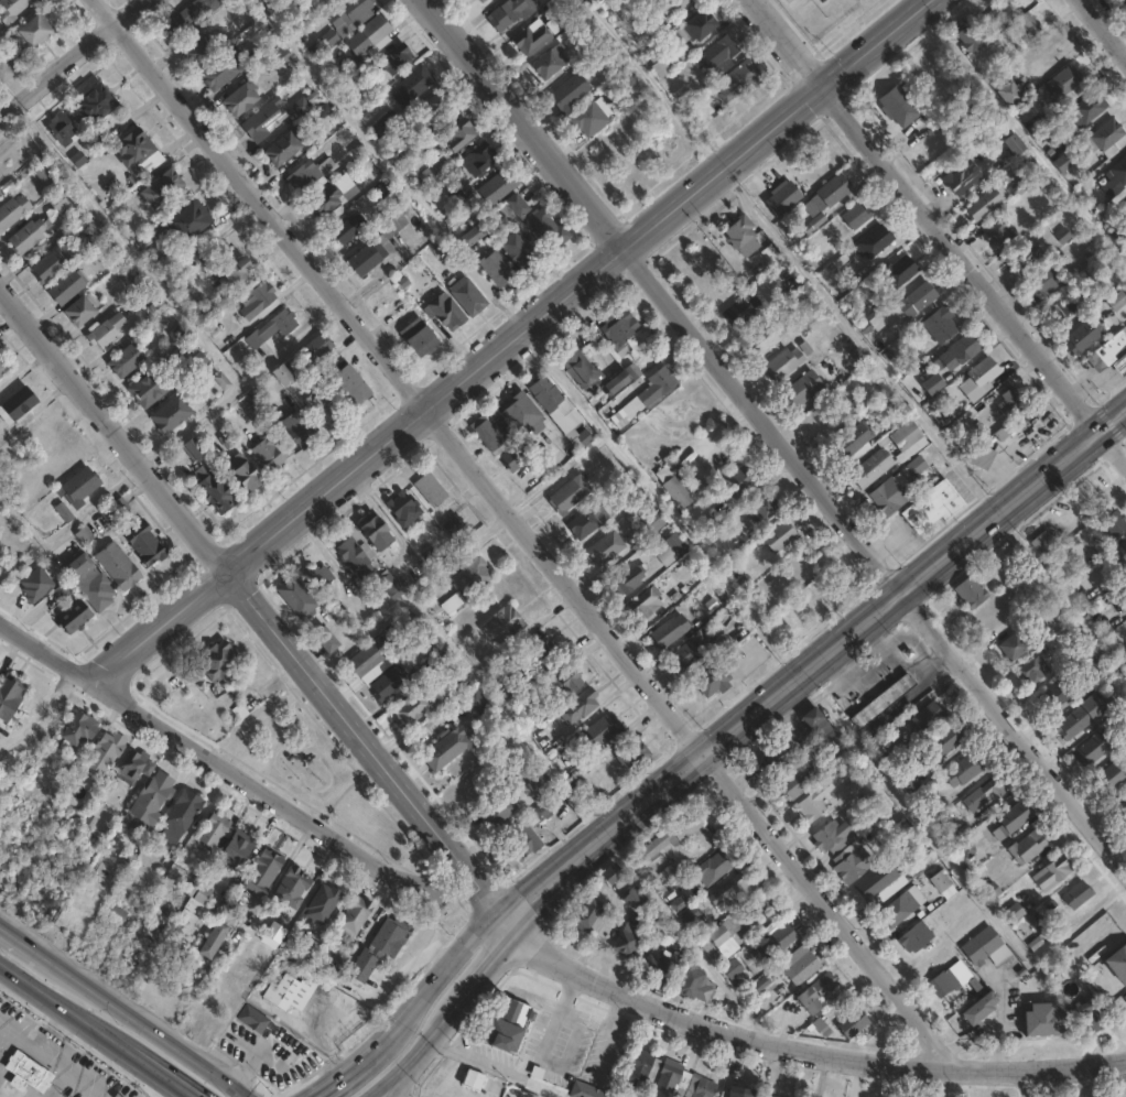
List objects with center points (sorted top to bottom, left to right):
building: (642, 0)
building: (481, 1)
building: (1004, 2)
building: (273, 3)
building: (670, 6)
building: (11, 9)
building: (349, 11)
building: (510, 12)
building: (186, 18)
building: (294, 23)
building: (1029, 24)
road: (1103, 26)
building: (695, 29)
building: (373, 30)
building: (31, 31)
building: (970, 35)
building: (328, 39)
building: (531, 40)
building: (269, 47)
building: (198, 50)
building: (718, 52)
road: (74, 57)
building: (280, 57)
building: (396, 58)
building: (550, 61)
building: (659, 64)
building: (4, 70)
building: (218, 70)
building: (737, 79)
building: (1064, 80)
building: (411, 85)
road: (652, 86)
building: (570, 90)
building: (1007, 91)
building: (240, 98)
building: (94, 102)
building: (304, 102)
building: (899, 106)
building: (1086, 108)
building: (436, 110)
building: (988, 116)
building: (588, 118)
building: (266, 120)
building: (61, 128)
building: (456, 134)
building: (99, 135)
building: (1105, 135)
building: (1015, 143)
building: (283, 146)
building: (138, 150)
building: (477, 159)
building: (1063, 163)
road: (389, 165)
building: (432, 170)
building: (44, 173)
building: (310, 175)
building: (1004, 176)
building: (963, 177)
building: (1116, 178)
building: (497, 186)
building: (160, 188)
building: (382, 188)
building: (830, 193)
building: (332, 196)
building: (782, 197)
building: (57, 200)
building: (516, 204)
building: (984, 204)
building: (1125, 206)
building: (12, 207)
building: (385, 211)
building: (501, 214)
building: (186, 221)
building: (418, 221)
building: (814, 224)
building: (465, 226)
road: (941, 226)
building: (345, 228)
building: (545, 229)
building: (998, 235)
building: (26, 236)
building: (741, 236)
building: (875, 241)
building: (519, 251)
building: (373, 253)
building: (1025, 256)
building: (52, 262)
building: (497, 269)
building: (848, 270)
building: (900, 271)
building: (234, 274)
building: (130, 280)
building: (1044, 281)
building: (66, 286)
building: (467, 296)
building: (256, 300)
building: (1117, 300)
building: (916, 301)
building: (83, 308)
building: (155, 308)
building: (1060, 309)
building: (445, 311)
building: (870, 317)
building: (941, 324)
building: (271, 328)
building: (105, 330)
building: (619, 330)
building: (176, 334)
building: (419, 336)
building: (766, 336)
building: (1084, 336)
road: (512, 341)
building: (315, 348)
building: (965, 348)
building: (1107, 351)
building: (124, 360)
building: (195, 362)
building: (783, 362)
building: (2, 366)
building: (1120, 366)
building: (593, 372)
building: (281, 376)
building: (0, 378)
building: (979, 378)
road: (240, 384)
building: (347, 384)
building: (932, 387)
building: (149, 388)
building: (803, 389)
building: (646, 395)
building: (1013, 402)
building: (554, 404)
building: (15, 405)
building: (322, 410)
building: (827, 412)
building: (170, 413)
building: (521, 413)
building: (296, 427)
building: (1007, 431)
building: (489, 434)
road: (775, 434)
building: (853, 443)
building: (192, 448)
building: (267, 454)
building: (517, 455)
building: (880, 456)
building: (984, 457)
building: (246, 476)
building: (739, 481)
building: (77, 488)
building: (673, 488)
building: (895, 489)
building: (430, 490)
building: (215, 492)
building: (569, 495)
building: (638, 497)
building: (762, 508)
building: (934, 508)
building: (403, 509)
building: (62, 513)
building: (588, 521)
building: (712, 522)
building: (1115, 523)
road: (71, 524)
building: (452, 524)
building: (648, 525)
road: (527, 532)
building: (375, 533)
building: (781, 535)
building: (1043, 543)
building: (144, 544)
building: (606, 548)
building: (672, 550)
building: (354, 553)
building: (1122, 553)
building: (117, 567)
building: (318, 577)
building: (472, 577)
building: (628, 582)
building: (88, 583)
building: (37, 584)
building: (390, 585)
building: (972, 593)
building: (295, 597)
building: (832, 597)
building: (452, 602)
building: (646, 604)
road: (252, 607)
building: (74, 618)
building: (502, 624)
building: (669, 631)
building: (326, 640)
building: (1017, 644)
building: (537, 647)
building: (684, 655)
building: (366, 658)
building: (435, 659)
building: (219, 663)
road: (815, 666)
building: (1036, 672)
building: (571, 681)
building: (713, 681)
building: (388, 684)
building: (1086, 685)
building: (11, 695)
building: (1054, 696)
building: (476, 702)
building: (884, 702)
building: (582, 705)
building: (409, 709)
building: (928, 717)
building: (1082, 717)
building: (813, 719)
building: (80, 728)
building: (602, 730)
building: (834, 739)
building: (948, 739)
building: (446, 749)
building: (1092, 749)
building: (107, 752)
building: (900, 752)
building: (632, 756)
building: (779, 757)
road: (215, 761)
building: (133, 765)
building: (966, 769)
park: (320, 775)
building: (1111, 778)
building: (538, 780)
building: (795, 783)
building: (853, 789)
building: (987, 792)
building: (153, 797)
building: (1125, 803)
building: (811, 808)
building: (499, 810)
building: (538, 814)
building: (181, 815)
building: (1016, 817)
building: (215, 829)
building: (833, 837)
building: (670, 838)
building: (528, 840)
building: (1029, 847)
building: (236, 850)
building: (853, 865)
building: (715, 866)
building: (263, 871)
building: (670, 872)
building: (1053, 873)
building: (611, 875)
building: (880, 882)
building: (941, 882)
building: (293, 887)
building: (732, 892)
building: (195, 895)
building: (1078, 895)
building: (634, 901)
building: (246, 902)
building: (323, 903)
building: (897, 910)
building: (1015, 911)
building: (591, 915)
building: (689, 915)
building: (356, 916)
building: (724, 936)
building: (916, 936)
road: (684, 937)
building: (215, 939)
building: (627, 939)
building: (780, 939)
road: (26, 945)
building: (381, 947)
road: (465, 947)
building: (987, 947)
building: (303, 949)
building: (1118, 962)
building: (801, 964)
building: (661, 965)
building: (944, 980)
building: (693, 981)
building: (825, 984)
building: (289, 991)
building: (1125, 998)
building: (810, 1000)
building: (981, 1007)
road: (63, 1009)
building: (1085, 1015)
road: (451, 1018)
building: (255, 1019)
road: (409, 1019)
building: (1044, 1019)
road: (1000, 1021)
building: (508, 1022)
building: (856, 1024)
road: (717, 1029)
road: (150, 1030)
road: (967, 1034)
road: (39, 1045)
building: (640, 1066)
road: (1039, 1069)
building: (29, 1074)
road: (350, 1074)
road: (150, 1075)
road: (156, 1075)
building: (669, 1078)
building: (473, 1079)
road: (1035, 1084)
road: (392, 1086)
road: (401, 1086)
building: (703, 1088)
building: (586, 1090)
park: (1093, 1090)
building: (734, 1094)
building: (671, 1096)
building: (766, 1096)

